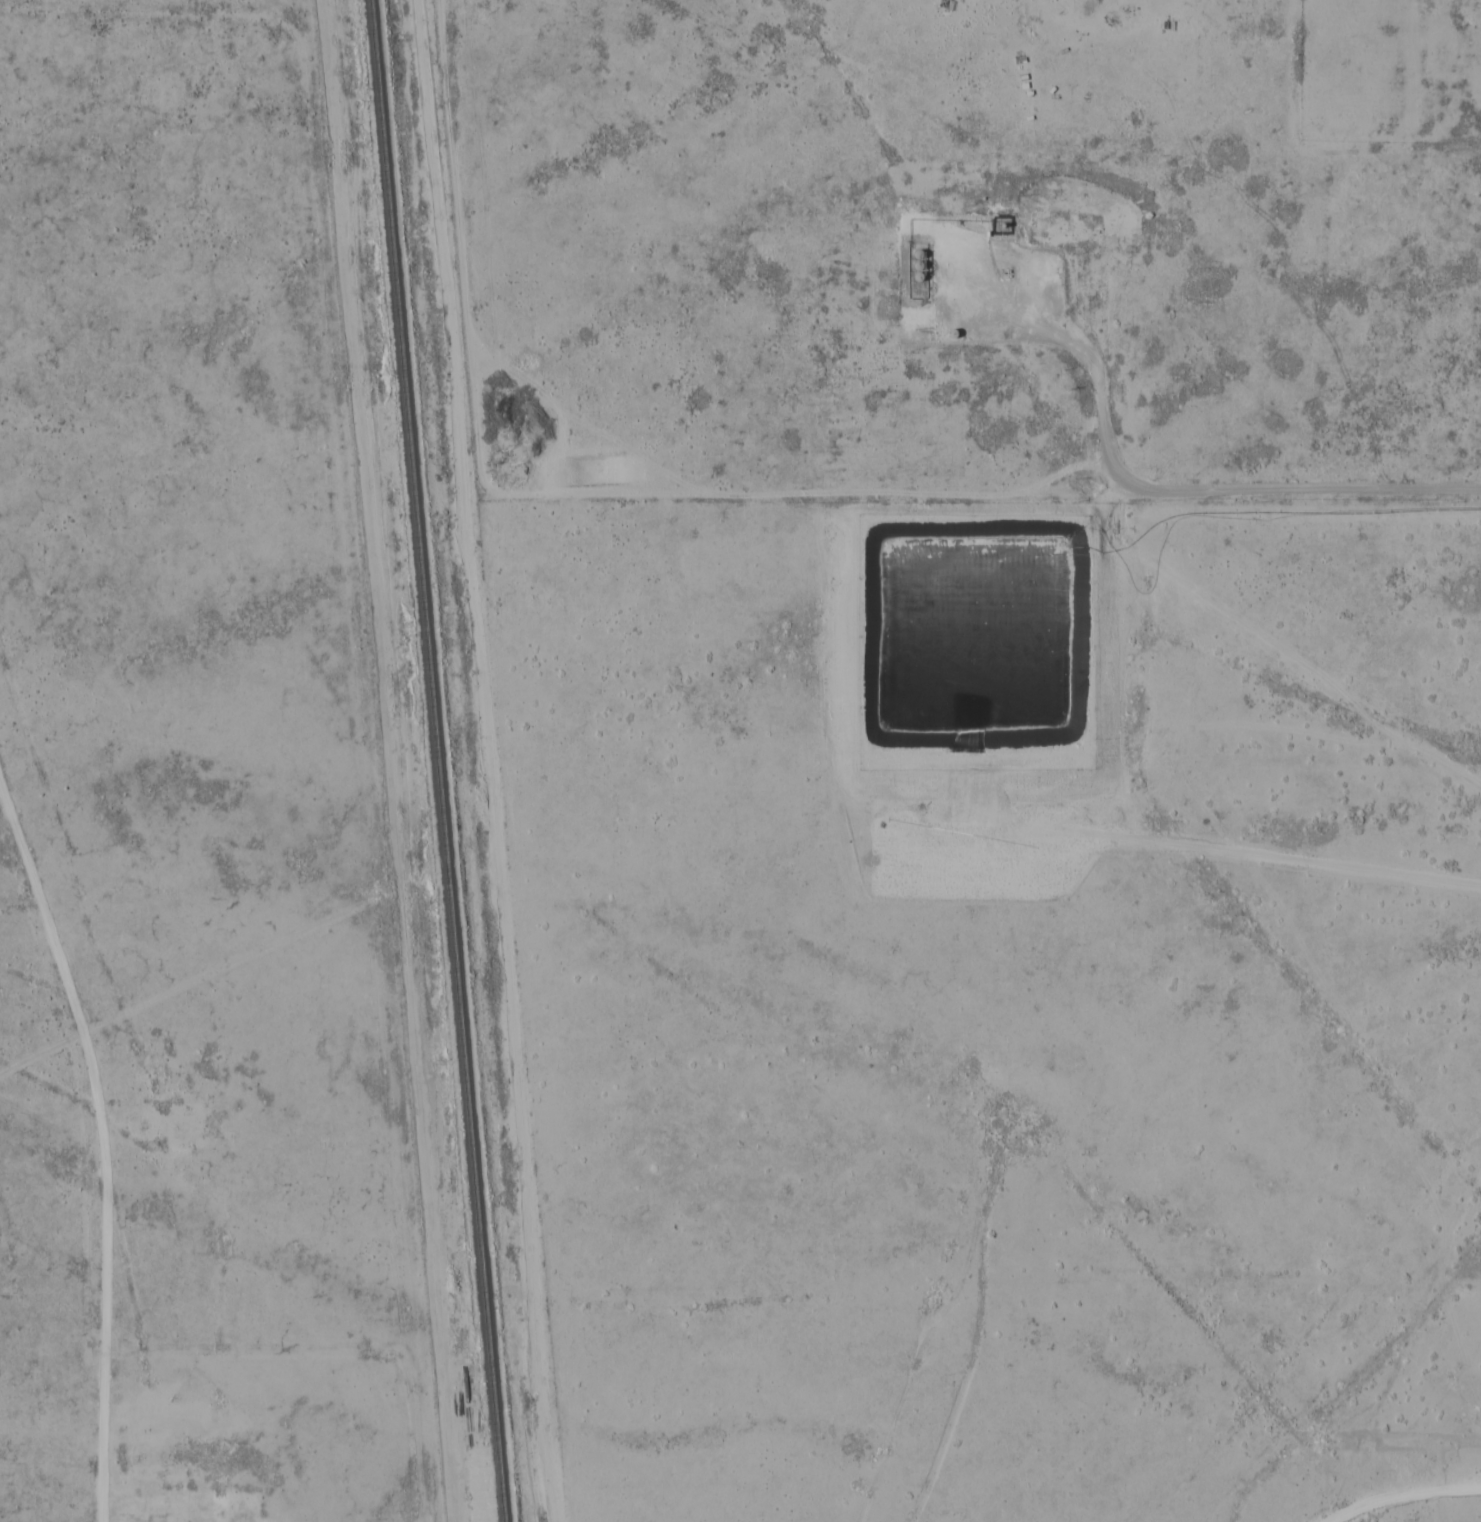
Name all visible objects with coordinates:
railway: (434, 760)
road: (108, 1147)
road: (981, 1279)
road: (1400, 1493)

